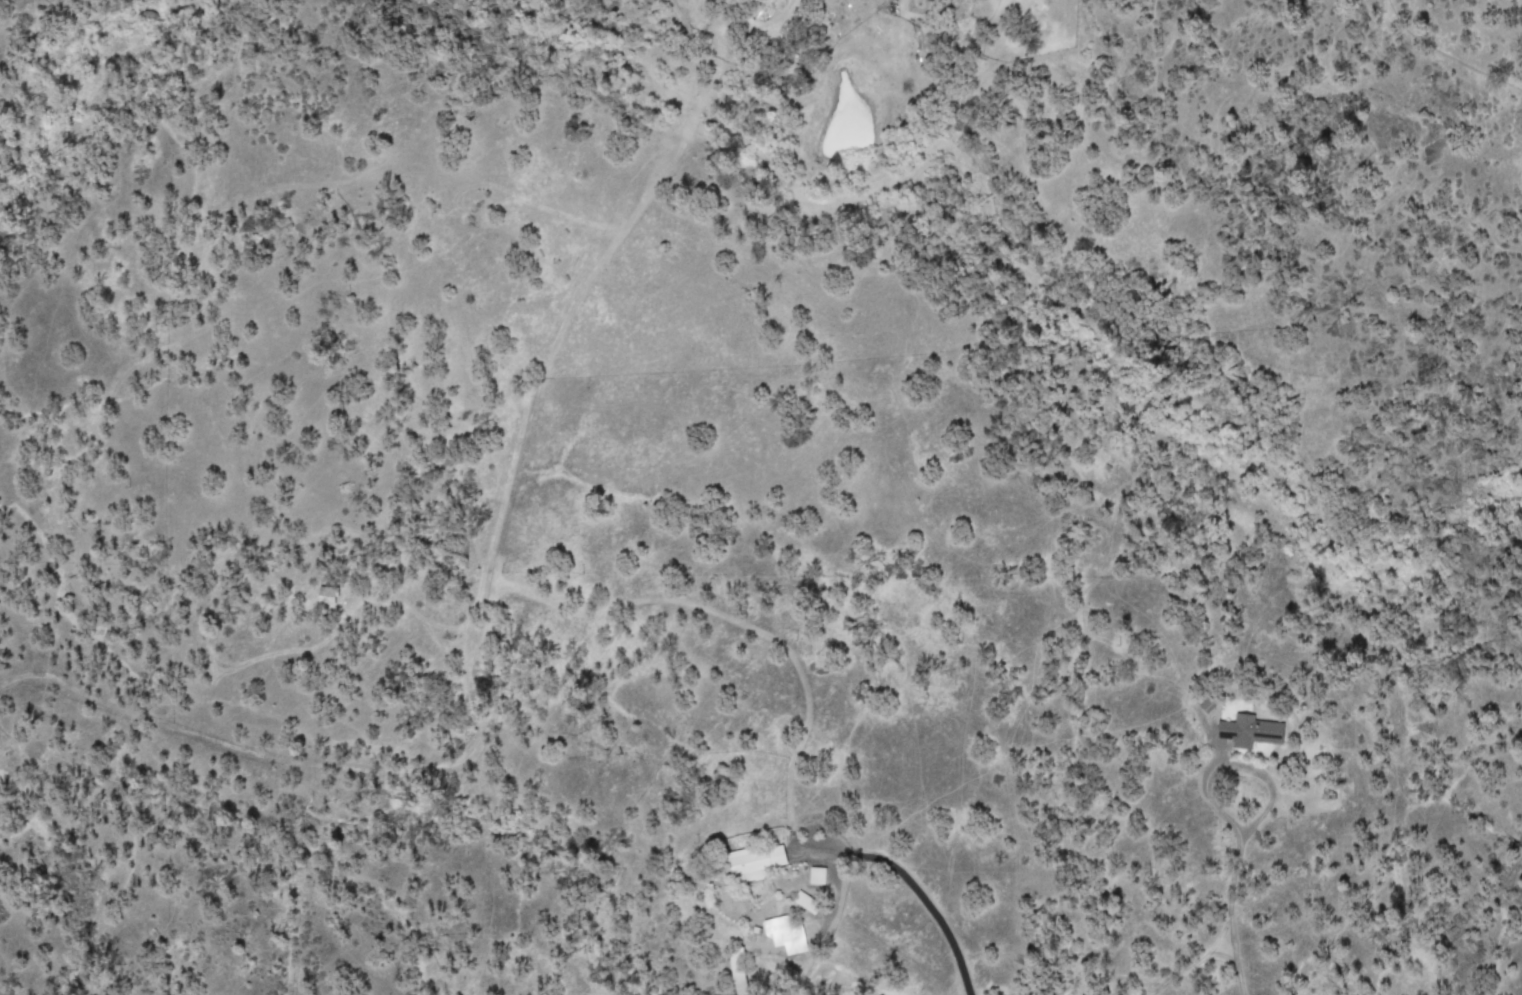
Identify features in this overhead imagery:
road: (499, 583)
building: (1255, 732)
road: (1234, 762)
building: (761, 863)
building: (822, 876)
building: (812, 903)
road: (1230, 918)
road: (927, 924)
building: (791, 934)
road: (1193, 959)

